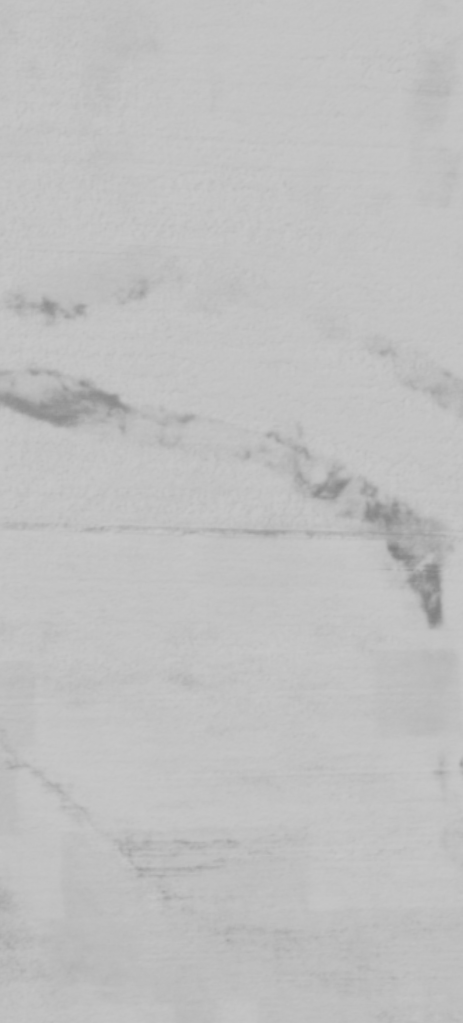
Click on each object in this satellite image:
crop: (232, 261)

